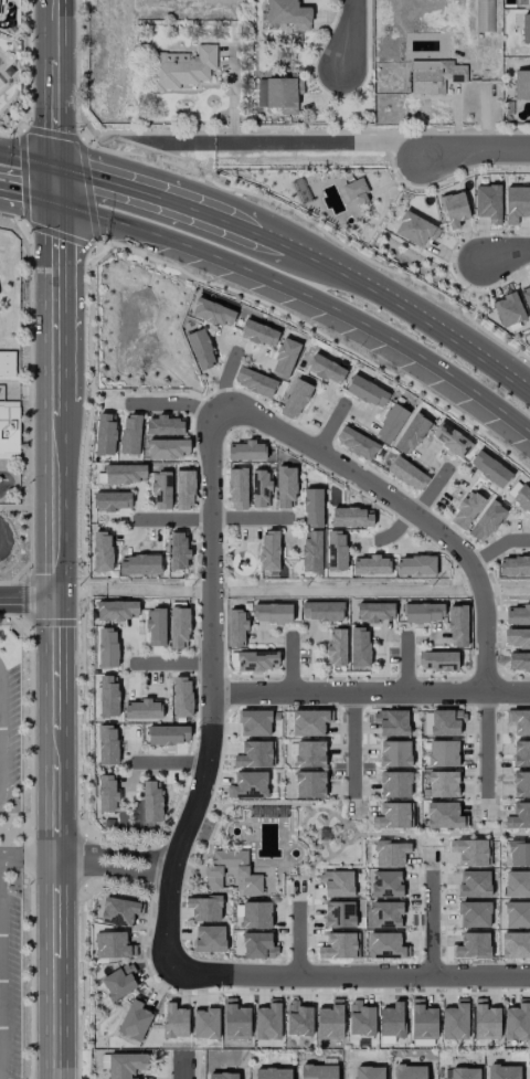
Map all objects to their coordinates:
building: (528, 2)
building: (288, 14)
building: (526, 28)
road: (352, 35)
road: (55, 65)
building: (181, 67)
building: (434, 76)
building: (522, 85)
building: (279, 94)
road: (144, 131)
road: (318, 141)
road: (55, 147)
road: (471, 149)
road: (28, 159)
traffic signals: (56, 163)
building: (356, 192)
building: (488, 202)
building: (517, 203)
building: (454, 209)
building: (415, 230)
road: (303, 258)
road: (504, 258)
road: (290, 295)
building: (508, 309)
building: (213, 313)
building: (258, 334)
building: (201, 349)
building: (284, 359)
building: (7, 363)
building: (326, 369)
road: (224, 378)
building: (254, 382)
road: (53, 383)
building: (367, 392)
building: (295, 400)
road: (171, 403)
building: (390, 423)
building: (163, 425)
road: (330, 427)
building: (9, 430)
building: (105, 434)
building: (411, 434)
building: (130, 435)
building: (452, 440)
building: (357, 443)
building: (168, 448)
building: (246, 451)
building: (489, 468)
building: (125, 474)
building: (407, 474)
building: (285, 487)
building: (237, 488)
building: (259, 488)
building: (183, 489)
building: (161, 490)
building: (522, 497)
building: (112, 501)
building: (312, 508)
road: (402, 508)
road: (417, 508)
building: (466, 509)
road: (210, 518)
building: (351, 518)
building: (486, 521)
road: (498, 547)
building: (179, 550)
building: (269, 550)
building: (102, 551)
building: (311, 551)
building: (336, 551)
building: (139, 564)
building: (370, 565)
building: (415, 565)
building: (513, 567)
road: (24, 603)
building: (116, 610)
building: (321, 611)
building: (375, 612)
building: (423, 612)
building: (272, 613)
building: (518, 614)
building: (457, 626)
building: (156, 627)
building: (179, 627)
building: (236, 628)
building: (517, 637)
building: (336, 647)
building: (359, 647)
building: (107, 648)
building: (256, 660)
building: (437, 660)
building: (519, 662)
road: (173, 663)
road: (291, 664)
road: (405, 665)
road: (370, 692)
building: (108, 696)
road: (211, 696)
building: (181, 697)
building: (142, 709)
building: (519, 721)
building: (310, 722)
building: (391, 722)
building: (446, 722)
building: (255, 723)
road: (51, 731)
building: (168, 734)
road: (352, 743)
road: (486, 743)
building: (107, 744)
building: (395, 753)
building: (443, 753)
building: (521, 753)
building: (254, 754)
building: (309, 754)
road: (169, 762)
building: (309, 784)
building: (395, 784)
building: (439, 784)
building: (521, 784)
building: (248, 785)
building: (107, 793)
building: (151, 802)
building: (444, 815)
building: (393, 816)
building: (391, 853)
building: (471, 853)
building: (519, 854)
road: (25, 859)
road: (110, 861)
building: (213, 872)
building: (337, 882)
building: (386, 884)
building: (474, 884)
building: (517, 884)
building: (204, 908)
building: (119, 911)
building: (256, 914)
building: (339, 914)
building: (386, 914)
building: (474, 914)
building: (517, 914)
road: (431, 925)
building: (209, 939)
road: (298, 940)
building: (113, 945)
building: (258, 945)
building: (386, 945)
building: (473, 945)
building: (516, 945)
road: (0, 969)
road: (53, 970)
road: (349, 975)
building: (119, 981)
building: (135, 1019)
building: (298, 1019)
building: (360, 1019)
building: (235, 1020)
building: (268, 1020)
building: (330, 1020)
building: (392, 1020)
building: (423, 1020)
building: (455, 1020)
building: (486, 1020)
building: (518, 1020)
building: (174, 1022)
building: (205, 1023)
building: (126, 1066)
road: (183, 1067)
building: (318, 1071)
building: (409, 1071)
building: (369, 1072)
building: (505, 1072)
building: (273, 1073)
building: (464, 1073)
building: (223, 1076)

